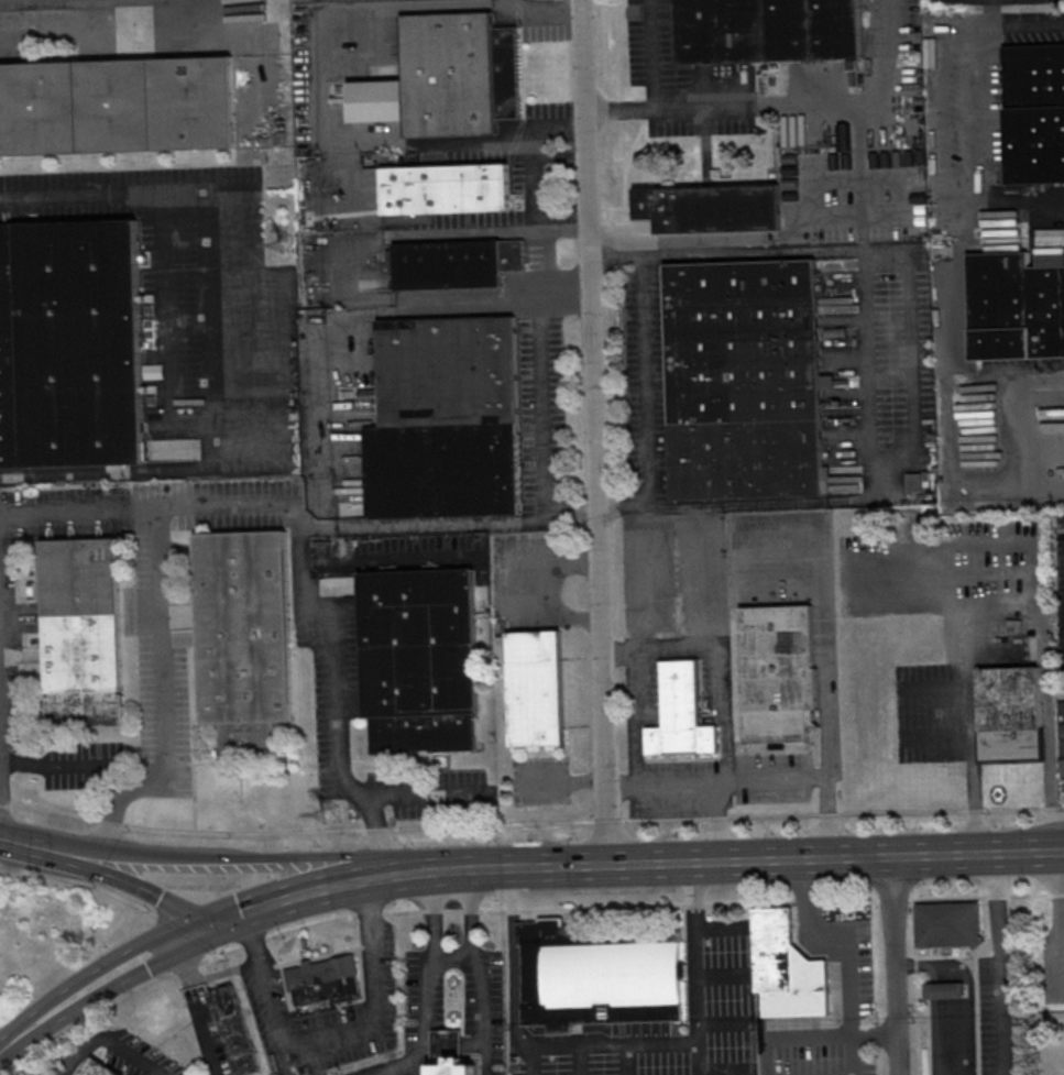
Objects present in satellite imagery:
parking lot: (319, 1)
parking lot: (102, 3)
road: (535, 10)
road: (317, 30)
building: (766, 30)
road: (127, 31)
road: (650, 54)
building: (446, 77)
building: (117, 105)
road: (726, 106)
building: (1033, 112)
road: (976, 118)
road: (494, 140)
building: (441, 187)
building: (707, 207)
road: (837, 213)
power tower: (287, 244)
building: (454, 263)
road: (340, 266)
road: (544, 266)
building: (1014, 307)
road: (164, 333)
road: (212, 339)
building: (69, 344)
road: (868, 369)
road: (645, 377)
building: (743, 379)
road: (915, 384)
building: (445, 419)
road: (1028, 426)
road: (540, 428)
road: (593, 431)
building: (914, 481)
road: (77, 514)
road: (646, 517)
road: (805, 541)
road: (393, 558)
road: (1005, 582)
building: (81, 632)
building: (243, 636)
road: (160, 638)
building: (419, 658)
road: (319, 659)
building: (778, 673)
road: (723, 678)
road: (934, 687)
building: (535, 688)
building: (680, 712)
building: (1011, 714)
building: (1062, 727)
road: (632, 735)
road: (936, 736)
road: (58, 764)
road: (731, 783)
road: (401, 794)
road: (1023, 808)
road: (974, 810)
power tower: (330, 813)
road: (793, 814)
road: (606, 821)
road: (719, 822)
road: (492, 826)
road: (180, 832)
road: (379, 833)
road: (19, 843)
road: (237, 858)
road: (749, 859)
road: (124, 879)
road: (319, 889)
road: (941, 898)
road: (804, 902)
road: (747, 903)
road: (693, 906)
road: (601, 909)
road: (434, 910)
road: (452, 910)
road: (471, 911)
road: (493, 911)
road: (513, 911)
road: (403, 912)
road: (369, 915)
traffic signals: (207, 925)
road: (309, 925)
road: (721, 925)
building: (948, 925)
park: (45, 937)
road: (253, 943)
road: (694, 951)
road: (220, 955)
road: (514, 955)
road: (453, 956)
road: (847, 956)
road: (999, 964)
road: (895, 965)
road: (191, 967)
building: (787, 969)
road: (480, 970)
road: (722, 975)
building: (596, 976)
road: (432, 978)
road: (99, 979)
building: (323, 980)
road: (201, 981)
building: (944, 991)
road: (722, 1021)
building: (235, 1030)
road: (809, 1035)
road: (207, 1041)
road: (109, 1042)
road: (333, 1043)
road: (606, 1043)
building: (449, 1054)
road: (696, 1057)
road: (578, 1058)
road: (624, 1058)
road: (533, 1060)
building: (100, 1069)
road: (723, 1069)
road: (418, 1073)

